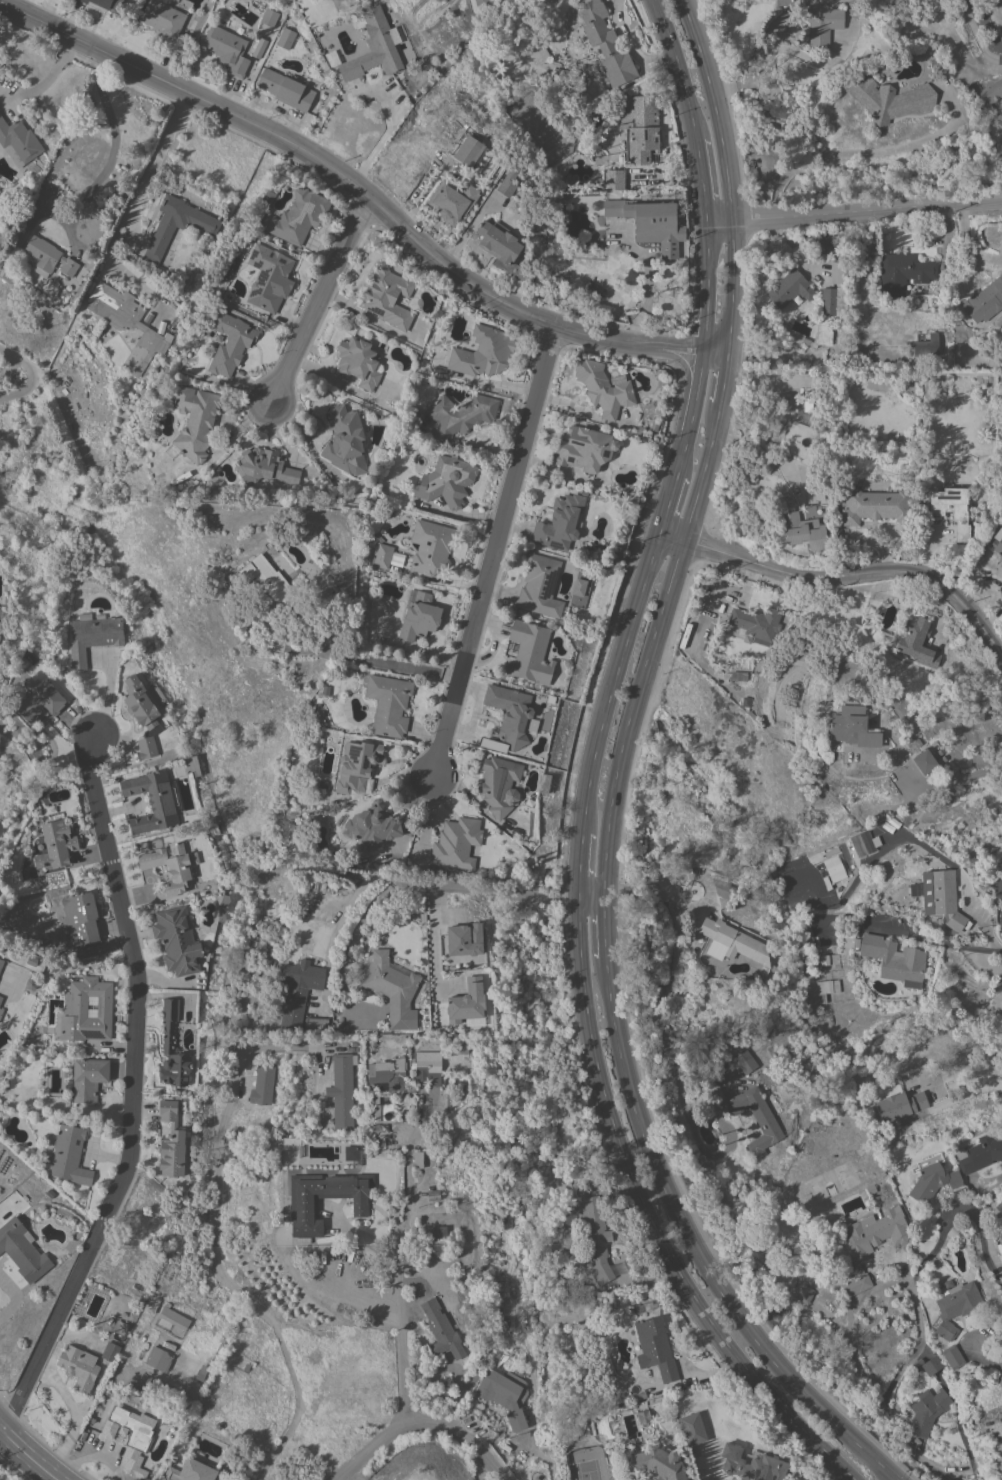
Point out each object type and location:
building: (480, 2)
building: (105, 4)
building: (323, 14)
building: (269, 17)
building: (816, 20)
building: (164, 23)
road: (977, 36)
building: (285, 38)
building: (606, 44)
road: (66, 46)
building: (375, 48)
building: (226, 49)
road: (778, 52)
road: (675, 70)
building: (562, 77)
road: (40, 87)
building: (285, 89)
building: (993, 91)
building: (891, 99)
building: (639, 127)
road: (378, 141)
building: (18, 142)
road: (112, 146)
building: (469, 152)
road: (871, 152)
building: (1001, 160)
road: (725, 176)
building: (614, 180)
road: (700, 180)
building: (507, 183)
road: (365, 192)
building: (267, 199)
building: (452, 200)
road: (853, 208)
building: (298, 216)
building: (650, 223)
road: (121, 229)
building: (162, 233)
building: (499, 242)
building: (48, 257)
building: (903, 272)
building: (267, 277)
building: (789, 288)
building: (387, 296)
road: (319, 300)
building: (985, 301)
building: (831, 305)
building: (126, 322)
building: (230, 342)
building: (925, 346)
road: (702, 347)
building: (483, 352)
building: (358, 362)
road: (30, 374)
road: (725, 382)
building: (603, 388)
building: (460, 414)
building: (195, 421)
building: (345, 442)
building: (585, 449)
road: (771, 453)
building: (264, 467)
building: (446, 481)
building: (822, 493)
road: (664, 501)
building: (875, 506)
building: (952, 509)
building: (559, 522)
building: (803, 531)
building: (997, 542)
building: (431, 547)
road: (492, 547)
building: (382, 556)
road: (842, 576)
building: (261, 579)
building: (540, 586)
road: (741, 589)
building: (577, 593)
building: (419, 616)
building: (756, 624)
road: (702, 631)
building: (92, 636)
building: (917, 642)
road: (999, 647)
road: (647, 651)
building: (530, 652)
road: (400, 668)
building: (738, 676)
road: (611, 677)
building: (42, 703)
building: (388, 704)
building: (142, 715)
building: (508, 717)
building: (847, 728)
building: (924, 762)
building: (356, 764)
road: (630, 777)
road: (956, 779)
building: (500, 784)
building: (152, 801)
building: (374, 825)
building: (456, 843)
building: (863, 843)
building: (56, 845)
road: (578, 864)
building: (169, 868)
building: (834, 869)
road: (443, 884)
building: (997, 886)
road: (645, 891)
building: (945, 898)
traffic signals: (575, 899)
traffic signals: (603, 902)
building: (81, 918)
building: (1000, 919)
road: (603, 929)
road: (434, 937)
building: (465, 939)
building: (177, 941)
building: (733, 941)
road: (939, 941)
building: (825, 960)
building: (895, 960)
building: (1, 962)
road: (986, 966)
building: (391, 987)
building: (298, 989)
building: (826, 989)
building: (1, 998)
building: (1001, 999)
building: (467, 1002)
building: (78, 1006)
building: (1, 1012)
building: (316, 1023)
building: (463, 1046)
building: (172, 1049)
building: (745, 1062)
building: (427, 1067)
building: (388, 1074)
building: (88, 1079)
building: (263, 1085)
building: (343, 1091)
road: (133, 1097)
building: (899, 1106)
building: (756, 1120)
building: (171, 1142)
building: (350, 1153)
building: (980, 1154)
building: (69, 1155)
building: (417, 1160)
building: (931, 1182)
building: (301, 1207)
road: (646, 1220)
building: (437, 1231)
building: (953, 1231)
building: (593, 1233)
road: (982, 1240)
building: (871, 1243)
building: (23, 1250)
road: (695, 1250)
road: (396, 1252)
road: (215, 1254)
road: (290, 1265)
road: (888, 1284)
building: (804, 1294)
road: (12, 1298)
building: (956, 1307)
building: (173, 1317)
building: (441, 1330)
building: (655, 1348)
building: (110, 1352)
building: (953, 1357)
road: (991, 1357)
building: (158, 1358)
building: (928, 1365)
building: (78, 1367)
building: (999, 1381)
building: (504, 1393)
building: (928, 1412)
building: (643, 1417)
road: (421, 1420)
building: (692, 1428)
building: (130, 1437)
road: (908, 1448)
road: (27, 1455)
building: (659, 1464)
building: (752, 1465)
building: (190, 1471)

